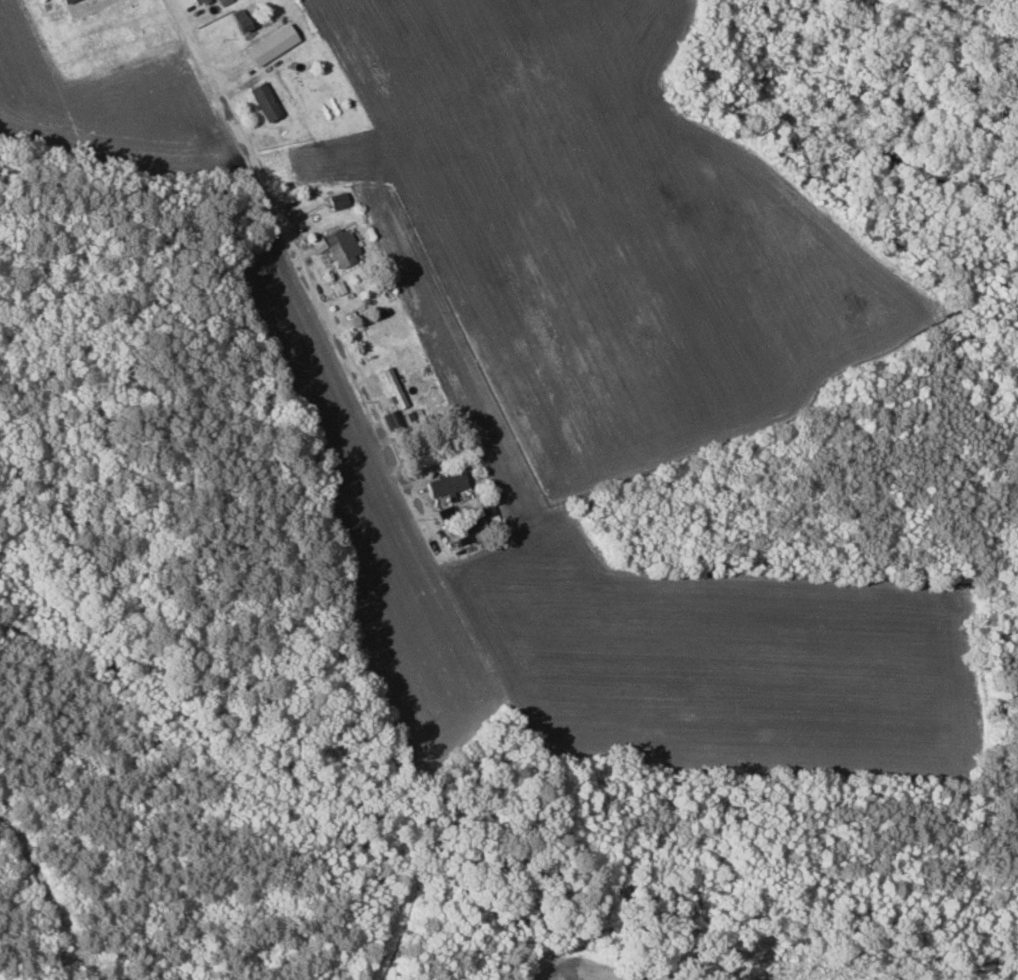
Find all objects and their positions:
building: (62, 0)
building: (199, 1)
building: (240, 20)
building: (271, 44)
building: (264, 101)
building: (337, 200)
building: (337, 247)
road: (303, 258)
building: (392, 387)
building: (445, 484)

